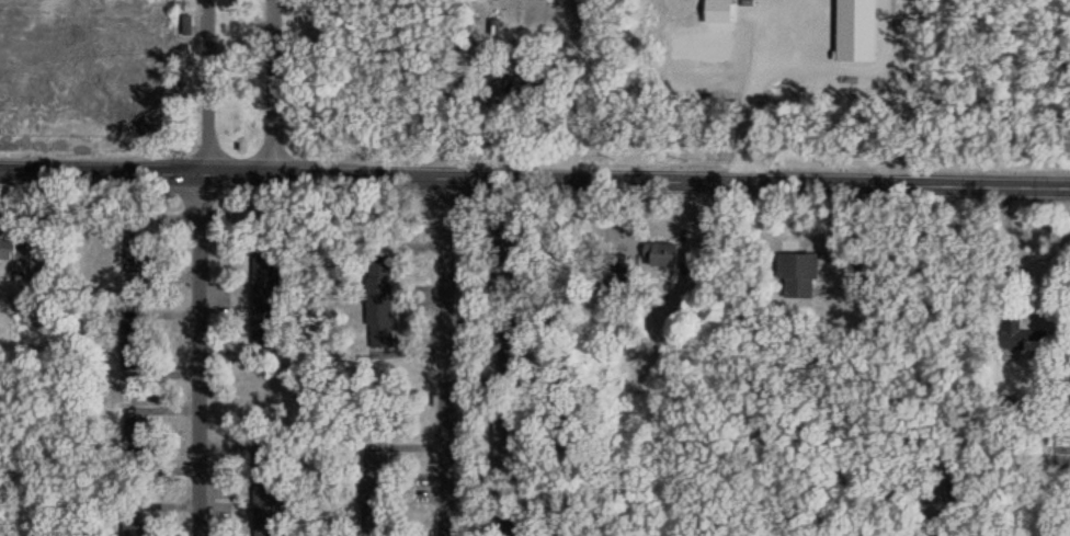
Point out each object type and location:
road: (207, 87)
road: (273, 87)
road: (534, 179)
building: (9, 235)
road: (1004, 246)
building: (136, 248)
building: (504, 255)
building: (661, 255)
building: (617, 267)
building: (798, 275)
building: (265, 283)
building: (379, 296)
building: (1022, 337)
building: (510, 350)
road: (197, 353)
road: (884, 354)
road: (446, 356)
building: (504, 436)
building: (137, 442)
building: (954, 478)
building: (265, 486)
building: (374, 486)
building: (133, 524)
building: (511, 527)

